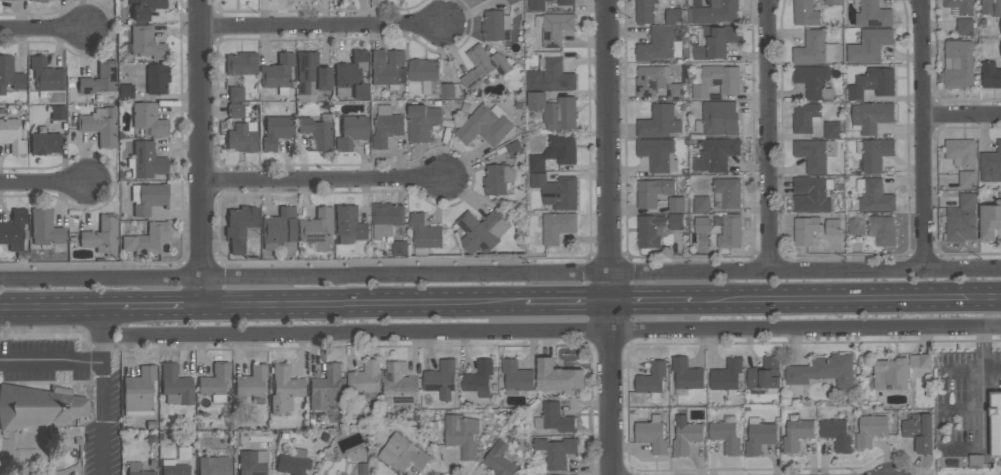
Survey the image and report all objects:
building: (39, 0)
building: (480, 0)
building: (512, 1)
building: (832, 2)
building: (960, 6)
building: (537, 7)
building: (145, 8)
building: (991, 8)
building: (644, 11)
building: (715, 12)
building: (805, 13)
building: (871, 14)
building: (675, 17)
building: (495, 26)
building: (964, 27)
building: (1000, 27)
building: (554, 28)
road: (324, 29)
road: (41, 31)
building: (146, 42)
building: (715, 42)
building: (659, 45)
building: (869, 46)
building: (1000, 49)
building: (815, 50)
building: (241, 63)
building: (958, 64)
building: (483, 66)
building: (387, 68)
building: (278, 72)
building: (10, 74)
building: (550, 74)
building: (46, 75)
building: (990, 75)
building: (311, 76)
building: (351, 76)
building: (157, 78)
building: (429, 78)
building: (99, 79)
building: (717, 81)
building: (813, 81)
building: (657, 83)
building: (873, 83)
building: (125, 91)
building: (235, 93)
building: (238, 110)
building: (555, 111)
building: (58, 112)
road: (962, 115)
building: (871, 117)
building: (718, 118)
building: (805, 118)
building: (149, 120)
building: (422, 121)
building: (659, 122)
building: (101, 125)
building: (484, 126)
building: (386, 127)
building: (832, 130)
building: (276, 131)
building: (351, 131)
building: (316, 133)
road: (923, 134)
building: (12, 135)
road: (765, 135)
building: (243, 137)
building: (45, 143)
building: (514, 149)
road: (205, 152)
building: (555, 152)
building: (961, 152)
building: (815, 154)
building: (874, 154)
building: (658, 155)
building: (716, 155)
building: (147, 160)
building: (991, 165)
building: (497, 178)
building: (966, 179)
road: (324, 181)
road: (45, 186)
building: (557, 191)
building: (652, 192)
building: (727, 193)
building: (811, 194)
building: (875, 197)
building: (150, 198)
building: (701, 204)
building: (676, 205)
building: (386, 219)
building: (961, 220)
building: (990, 221)
building: (675, 222)
building: (349, 224)
building: (702, 224)
building: (45, 227)
building: (241, 227)
building: (557, 227)
building: (832, 227)
building: (856, 227)
building: (279, 228)
building: (318, 229)
building: (14, 230)
building: (805, 230)
building: (481, 231)
building: (649, 231)
building: (729, 231)
building: (882, 231)
building: (102, 235)
building: (424, 235)
road: (608, 237)
building: (149, 239)
building: (400, 249)
road: (500, 273)
road: (845, 298)
road: (650, 301)
road: (566, 302)
road: (365, 304)
road: (164, 305)
road: (60, 307)
road: (564, 332)
road: (98, 335)
road: (100, 368)
building: (822, 371)
building: (897, 371)
building: (687, 374)
building: (765, 375)
building: (727, 376)
building: (516, 377)
building: (365, 378)
building: (479, 378)
building: (558, 378)
building: (652, 378)
building: (441, 380)
building: (251, 381)
building: (215, 382)
building: (176, 385)
building: (284, 386)
building: (399, 386)
building: (327, 387)
road: (983, 389)
building: (139, 391)
building: (39, 407)
building: (556, 418)
building: (995, 424)
building: (870, 431)
building: (919, 431)
building: (797, 434)
building: (836, 434)
building: (461, 435)
building: (652, 435)
building: (685, 435)
building: (726, 435)
building: (759, 437)
building: (555, 451)
building: (402, 454)
building: (500, 460)
building: (252, 462)
building: (293, 462)
building: (214, 465)
building: (138, 469)
building: (174, 469)

